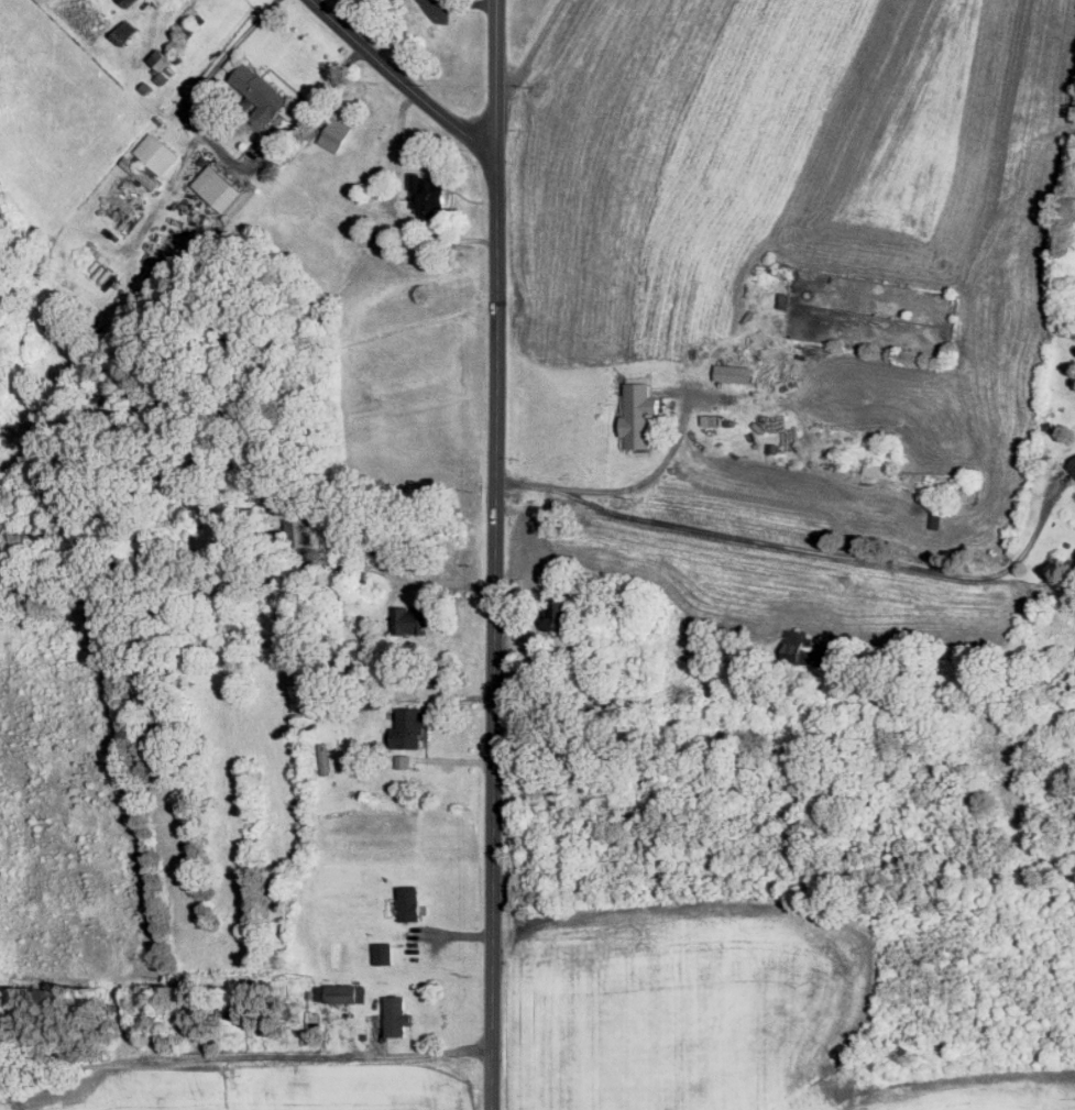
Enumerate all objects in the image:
building: (129, 1)
building: (124, 31)
road: (535, 47)
building: (162, 76)
road: (401, 77)
building: (262, 91)
building: (336, 133)
road: (226, 156)
building: (152, 158)
building: (219, 186)
building: (430, 195)
building: (736, 372)
building: (639, 414)
building: (712, 418)
building: (1073, 463)
building: (884, 470)
road: (619, 488)
road: (583, 498)
building: (304, 529)
road: (796, 548)
road: (495, 554)
road: (410, 583)
building: (563, 615)
building: (410, 619)
building: (809, 649)
building: (410, 727)
building: (403, 760)
building: (409, 902)
building: (383, 952)
building: (341, 992)
building: (397, 1015)
road: (244, 1056)

